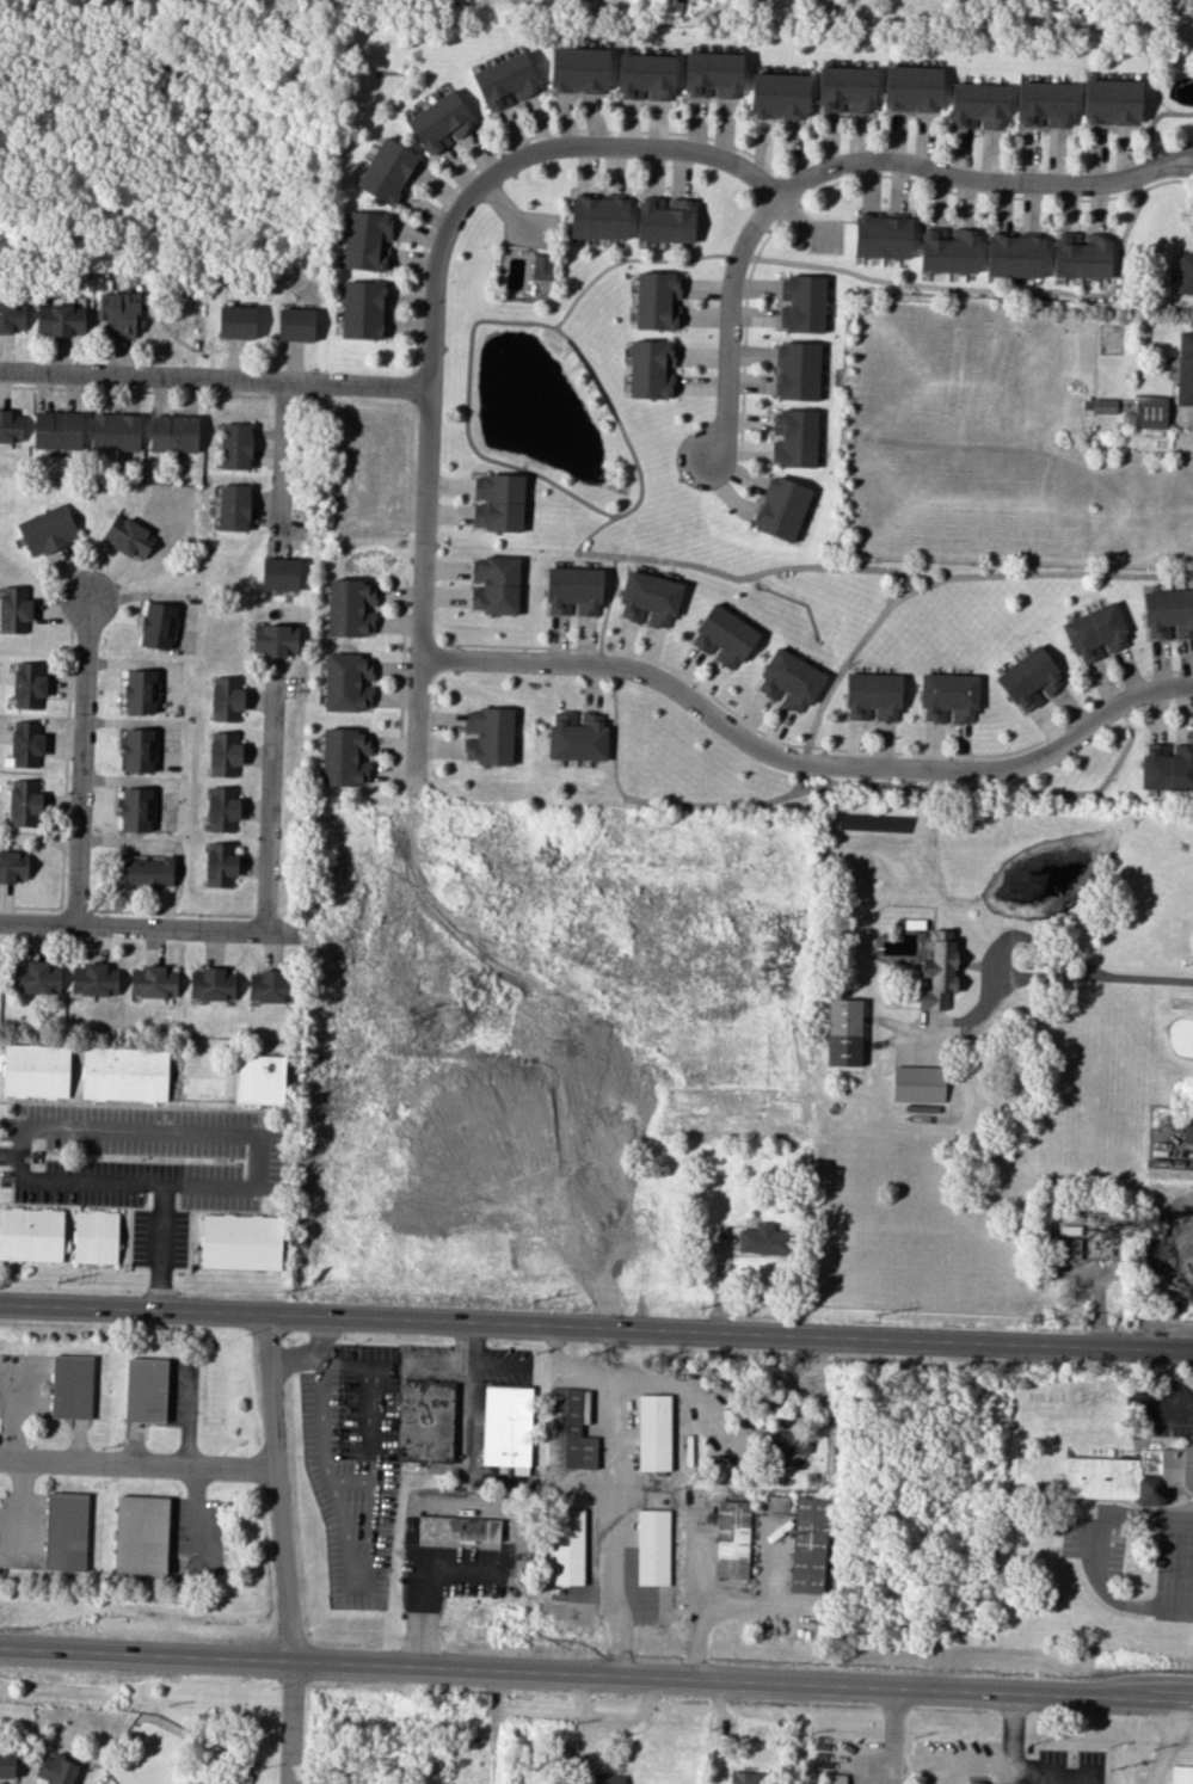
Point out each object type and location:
building: (578, 69)
building: (712, 74)
building: (644, 75)
building: (504, 81)
building: (911, 87)
building: (844, 90)
building: (777, 94)
building: (1111, 101)
building: (1044, 103)
building: (977, 105)
building: (439, 122)
road: (1173, 156)
road: (1174, 166)
building: (388, 171)
road: (964, 180)
road: (510, 216)
building: (597, 217)
building: (665, 220)
road: (804, 223)
parking lot: (533, 232)
parking lot: (826, 235)
building: (881, 236)
building: (367, 240)
building: (948, 250)
building: (1081, 254)
building: (1014, 256)
road: (672, 262)
building: (541, 266)
building: (1185, 272)
building: (657, 300)
building: (801, 303)
building: (362, 309)
building: (121, 312)
building: (11, 316)
building: (59, 319)
building: (235, 321)
road: (516, 321)
building: (294, 324)
road: (439, 324)
road: (732, 327)
building: (1185, 368)
building: (650, 369)
building: (797, 370)
road: (217, 381)
building: (1103, 405)
building: (1149, 412)
building: (10, 426)
building: (56, 430)
building: (115, 431)
building: (173, 433)
building: (793, 437)
building: (235, 445)
road: (283, 468)
building: (497, 502)
building: (233, 506)
building: (781, 507)
building: (47, 529)
building: (128, 536)
road: (835, 567)
building: (279, 573)
road: (1063, 574)
building: (496, 584)
building: (572, 590)
building: (648, 598)
building: (349, 608)
building: (13, 609)
building: (1168, 613)
road: (810, 614)
building: (156, 625)
building: (1094, 632)
building: (722, 636)
building: (275, 639)
building: (788, 679)
building: (1029, 679)
building: (345, 682)
building: (27, 684)
building: (140, 690)
building: (872, 696)
building: (947, 696)
building: (225, 697)
building: (488, 736)
building: (577, 736)
building: (25, 743)
building: (137, 750)
building: (223, 752)
building: (344, 756)
road: (80, 762)
road: (805, 763)
building: (1167, 767)
road: (620, 786)
road: (990, 788)
road: (271, 800)
building: (24, 801)
building: (222, 807)
building: (135, 808)
building: (220, 863)
building: (12, 866)
building: (143, 872)
road: (133, 928)
building: (939, 934)
road: (996, 955)
building: (937, 974)
building: (36, 977)
road: (1145, 977)
building: (93, 979)
building: (153, 982)
building: (211, 984)
building: (267, 986)
building: (842, 1032)
building: (35, 1070)
building: (124, 1074)
building: (259, 1078)
building: (917, 1083)
building: (1188, 1128)
road: (250, 1139)
road: (82, 1180)
building: (31, 1234)
building: (94, 1236)
building: (763, 1239)
building: (240, 1241)
power tower: (55, 1284)
power tower: (284, 1293)
power tower: (531, 1300)
road: (1094, 1304)
power tower: (875, 1315)
power tower: (1026, 1318)
road: (596, 1328)
road: (315, 1339)
road: (467, 1347)
road: (332, 1362)
road: (426, 1365)
building: (70, 1386)
building: (144, 1389)
road: (1168, 1413)
building: (424, 1421)
building: (505, 1426)
building: (567, 1432)
building: (653, 1432)
building: (787, 1441)
road: (141, 1465)
building: (1131, 1474)
building: (777, 1505)
road: (1142, 1515)
building: (459, 1527)
building: (64, 1531)
building: (140, 1534)
building: (731, 1539)
building: (807, 1545)
building: (566, 1546)
building: (653, 1546)
road: (283, 1549)
road: (1177, 1567)
road: (1107, 1597)
road: (596, 1677)
road: (629, 1718)
road: (584, 1729)
road: (892, 1736)
road: (1164, 1742)
road: (1014, 1755)
building: (6, 1764)
building: (56, 1768)
building: (1180, 1774)
building: (745, 1777)
building: (604, 1778)
building: (836, 1778)
building: (974, 1782)

